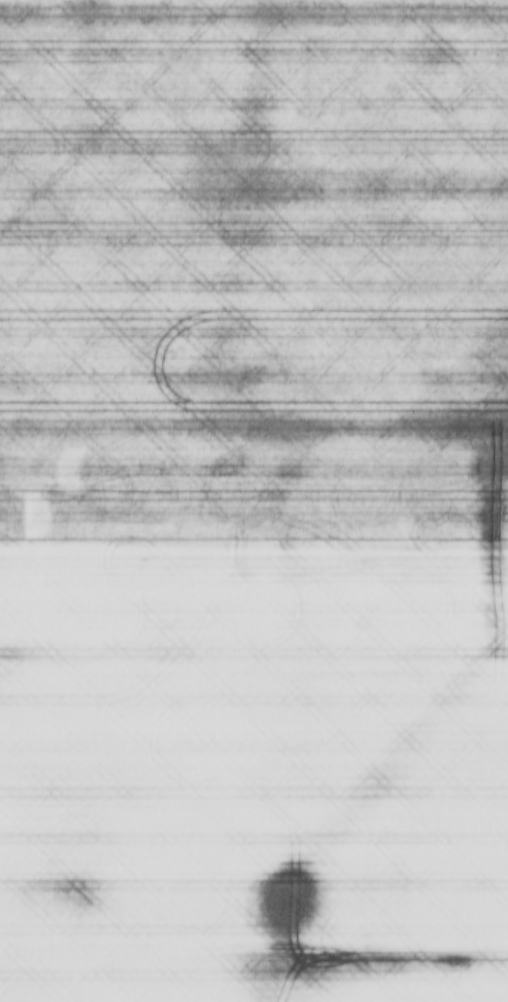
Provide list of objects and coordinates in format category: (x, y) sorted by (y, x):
crop: (254, 268)
crop: (253, 769)

